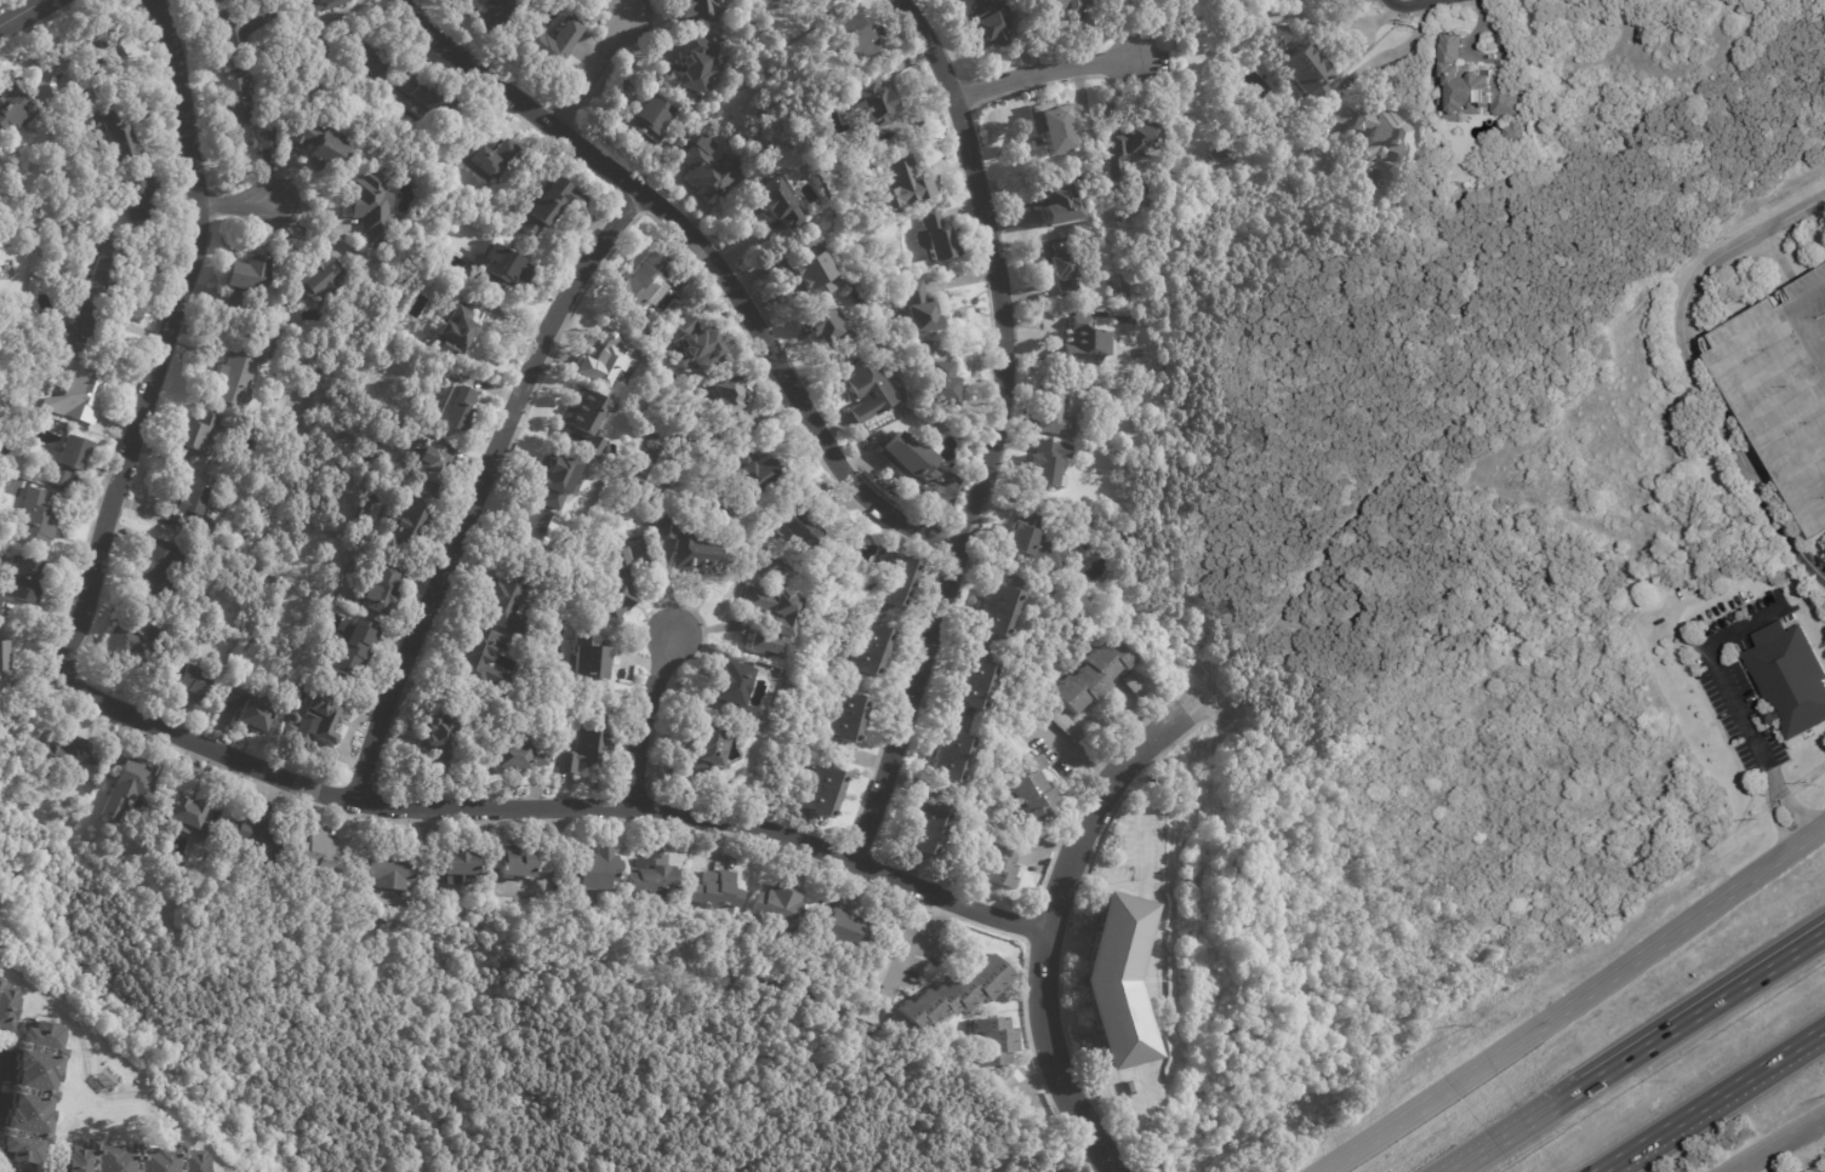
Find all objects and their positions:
building: (816, 0)
building: (1062, 5)
building: (701, 10)
building: (491, 11)
road: (22, 12)
building: (1276, 12)
road: (1381, 13)
building: (582, 17)
building: (307, 18)
building: (987, 24)
building: (233, 29)
road: (1414, 32)
building: (856, 38)
building: (549, 42)
road: (1340, 46)
building: (369, 55)
building: (1296, 61)
building: (694, 64)
road: (592, 70)
road: (1045, 72)
road: (1378, 76)
building: (59, 81)
building: (1475, 86)
building: (428, 93)
building: (394, 97)
building: (243, 101)
building: (13, 107)
building: (860, 112)
building: (715, 114)
building: (650, 116)
building: (1053, 128)
building: (1375, 132)
building: (1518, 133)
building: (115, 137)
building: (264, 139)
building: (1133, 139)
building: (249, 143)
building: (318, 147)
building: (1220, 151)
building: (492, 161)
building: (1321, 162)
building: (709, 172)
building: (901, 183)
building: (138, 191)
building: (1056, 200)
building: (777, 201)
building: (1370, 201)
road: (236, 202)
building: (370, 206)
building: (551, 206)
building: (1135, 206)
building: (936, 238)
building: (810, 241)
road: (709, 255)
road: (1780, 255)
building: (1061, 267)
building: (101, 268)
building: (502, 268)
building: (241, 275)
building: (811, 276)
building: (319, 281)
building: (640, 287)
building: (917, 309)
building: (826, 327)
building: (82, 328)
building: (452, 331)
building: (1088, 345)
building: (697, 350)
building: (924, 351)
building: (601, 361)
road: (1694, 366)
building: (235, 377)
parking lot: (1781, 384)
building: (941, 385)
building: (1783, 387)
building: (86, 391)
building: (868, 391)
building: (728, 404)
building: (1057, 408)
building: (451, 410)
building: (583, 422)
road: (997, 429)
building: (195, 434)
building: (900, 457)
building: (67, 461)
building: (1048, 465)
building: (426, 467)
building: (755, 473)
road: (1764, 476)
building: (558, 481)
road: (478, 485)
building: (193, 510)
building: (361, 510)
building: (36, 520)
building: (406, 522)
building: (802, 527)
building: (535, 530)
building: (690, 547)
building: (1032, 547)
building: (160, 568)
building: (28, 581)
building: (896, 583)
building: (616, 589)
building: (376, 596)
building: (506, 604)
building: (347, 608)
building: (999, 613)
building: (788, 619)
building: (131, 645)
building: (350, 651)
building: (873, 651)
building: (478, 659)
building: (588, 664)
building: (4, 669)
road: (1721, 671)
building: (1787, 678)
building: (1093, 679)
parking lot: (1741, 680)
building: (1133, 681)
building: (186, 682)
building: (975, 686)
building: (731, 693)
building: (245, 711)
building: (849, 716)
road: (641, 718)
building: (310, 725)
building: (1068, 728)
building: (437, 739)
building: (586, 742)
road: (211, 747)
building: (705, 748)
building: (70, 754)
building: (514, 757)
building: (952, 757)
building: (126, 785)
building: (1030, 790)
building: (823, 793)
road: (1791, 802)
road: (1775, 813)
building: (183, 817)
building: (925, 831)
building: (255, 835)
building: (318, 851)
building: (457, 858)
building: (511, 861)
building: (389, 867)
building: (591, 867)
building: (993, 869)
building: (650, 875)
building: (717, 890)
building: (777, 905)
road: (1053, 911)
building: (842, 930)
building: (897, 930)
building: (433, 942)
road: (919, 944)
building: (883, 966)
building: (641, 973)
building: (1113, 979)
building: (0, 981)
building: (629, 985)
building: (954, 994)
road: (1576, 1002)
building: (6, 1006)
building: (996, 1041)
road: (1639, 1052)
building: (1009, 1084)
building: (30, 1091)
road: (1717, 1104)
road: (1780, 1144)
road: (1796, 1154)
building: (130, 1159)
road: (1773, 1161)

